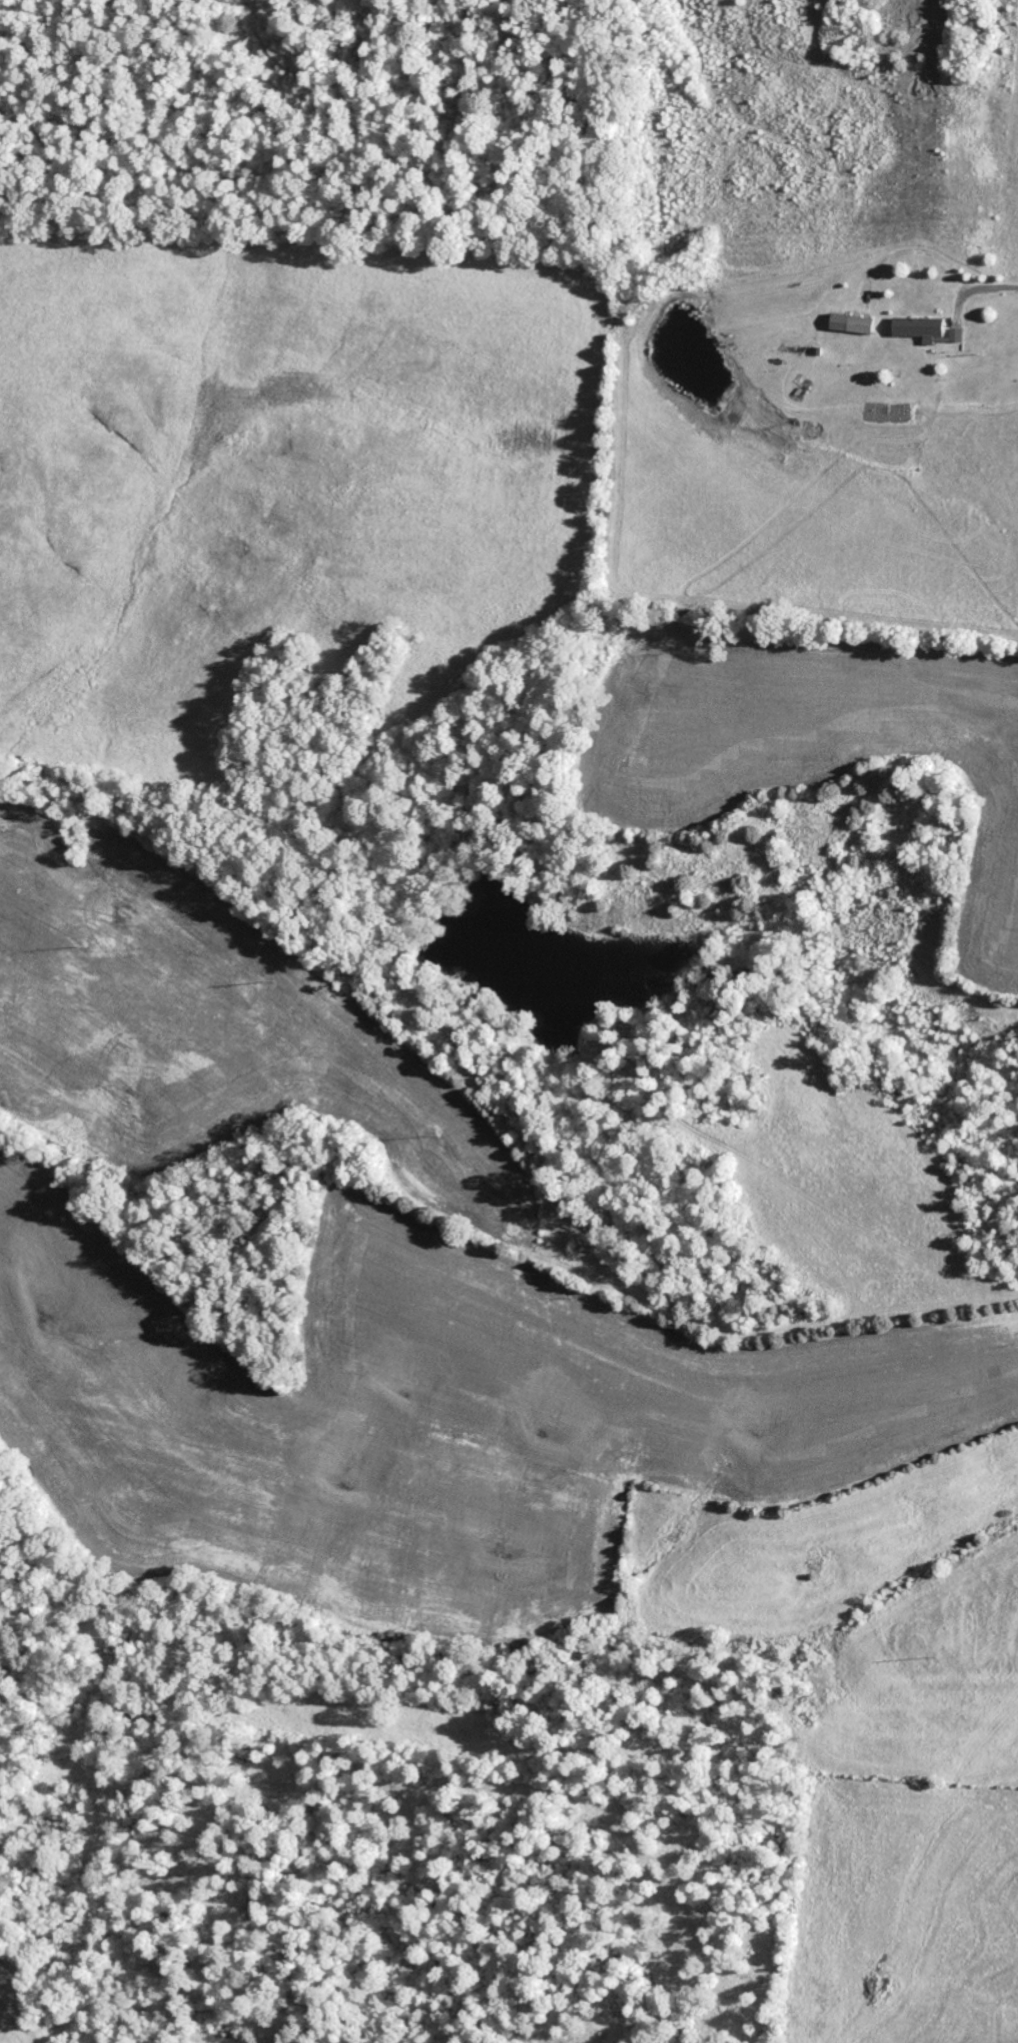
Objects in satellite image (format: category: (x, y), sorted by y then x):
road: (994, 289)
building: (853, 325)
building: (921, 329)
building: (958, 336)

